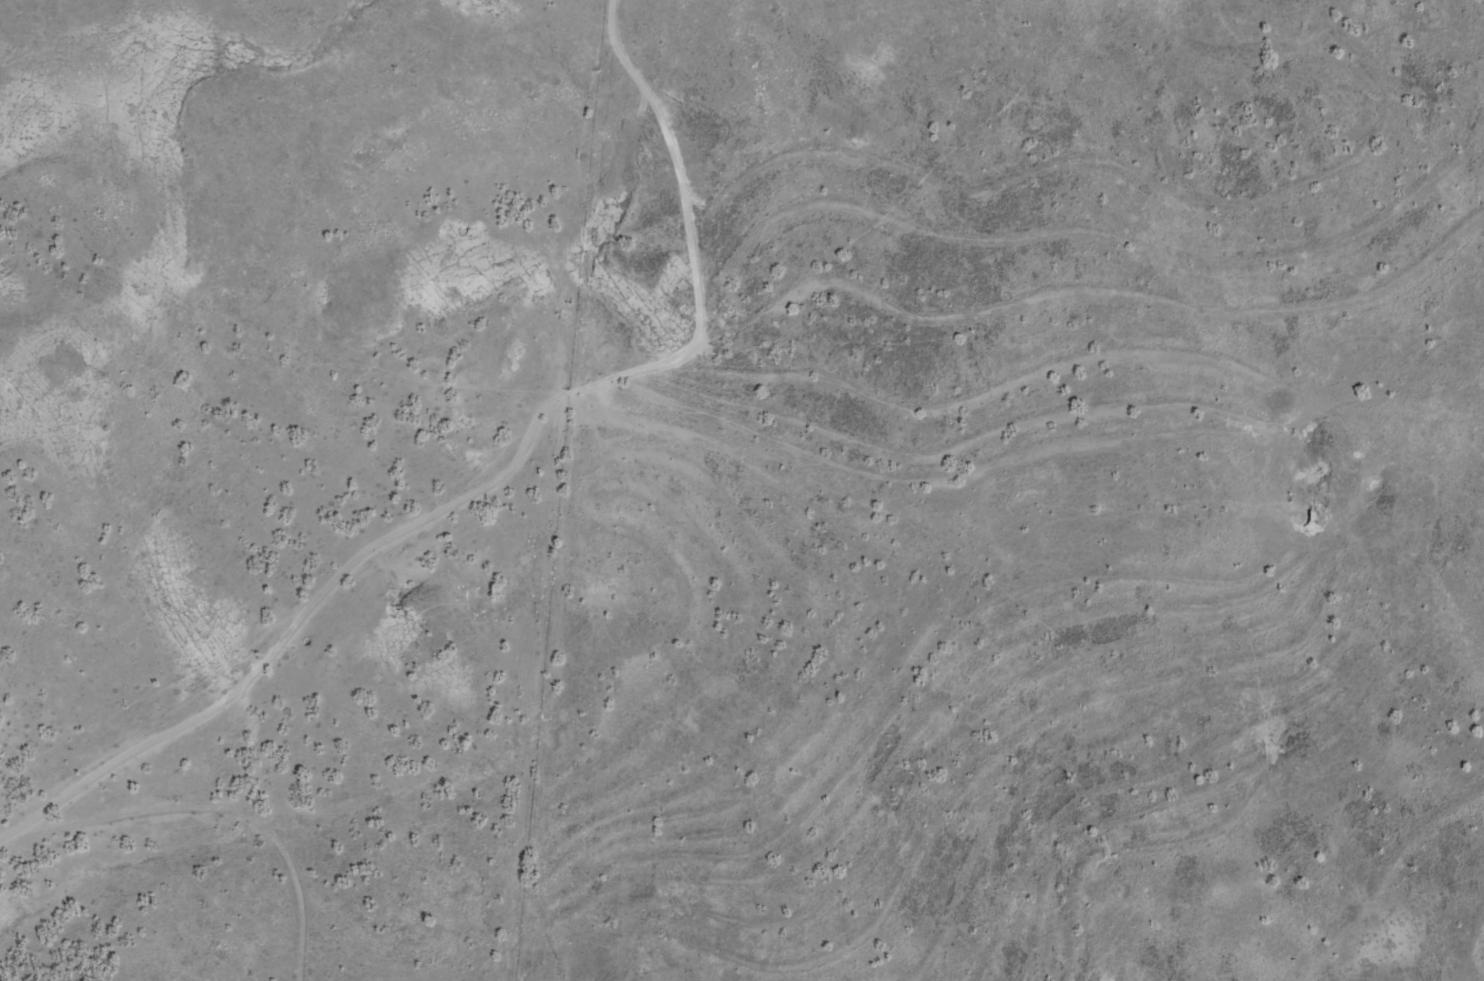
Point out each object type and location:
road: (572, 492)
road: (144, 734)

